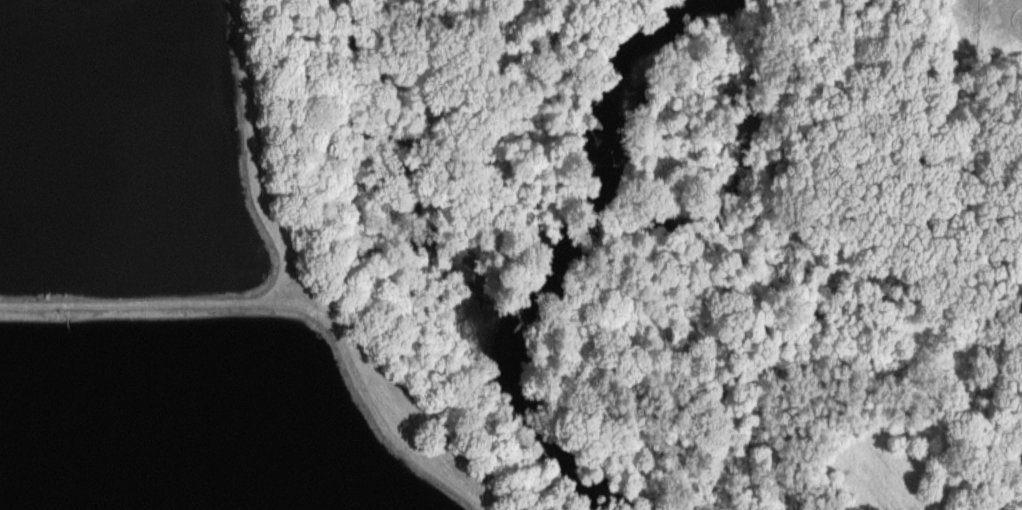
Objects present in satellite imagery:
river: (571, 255)

